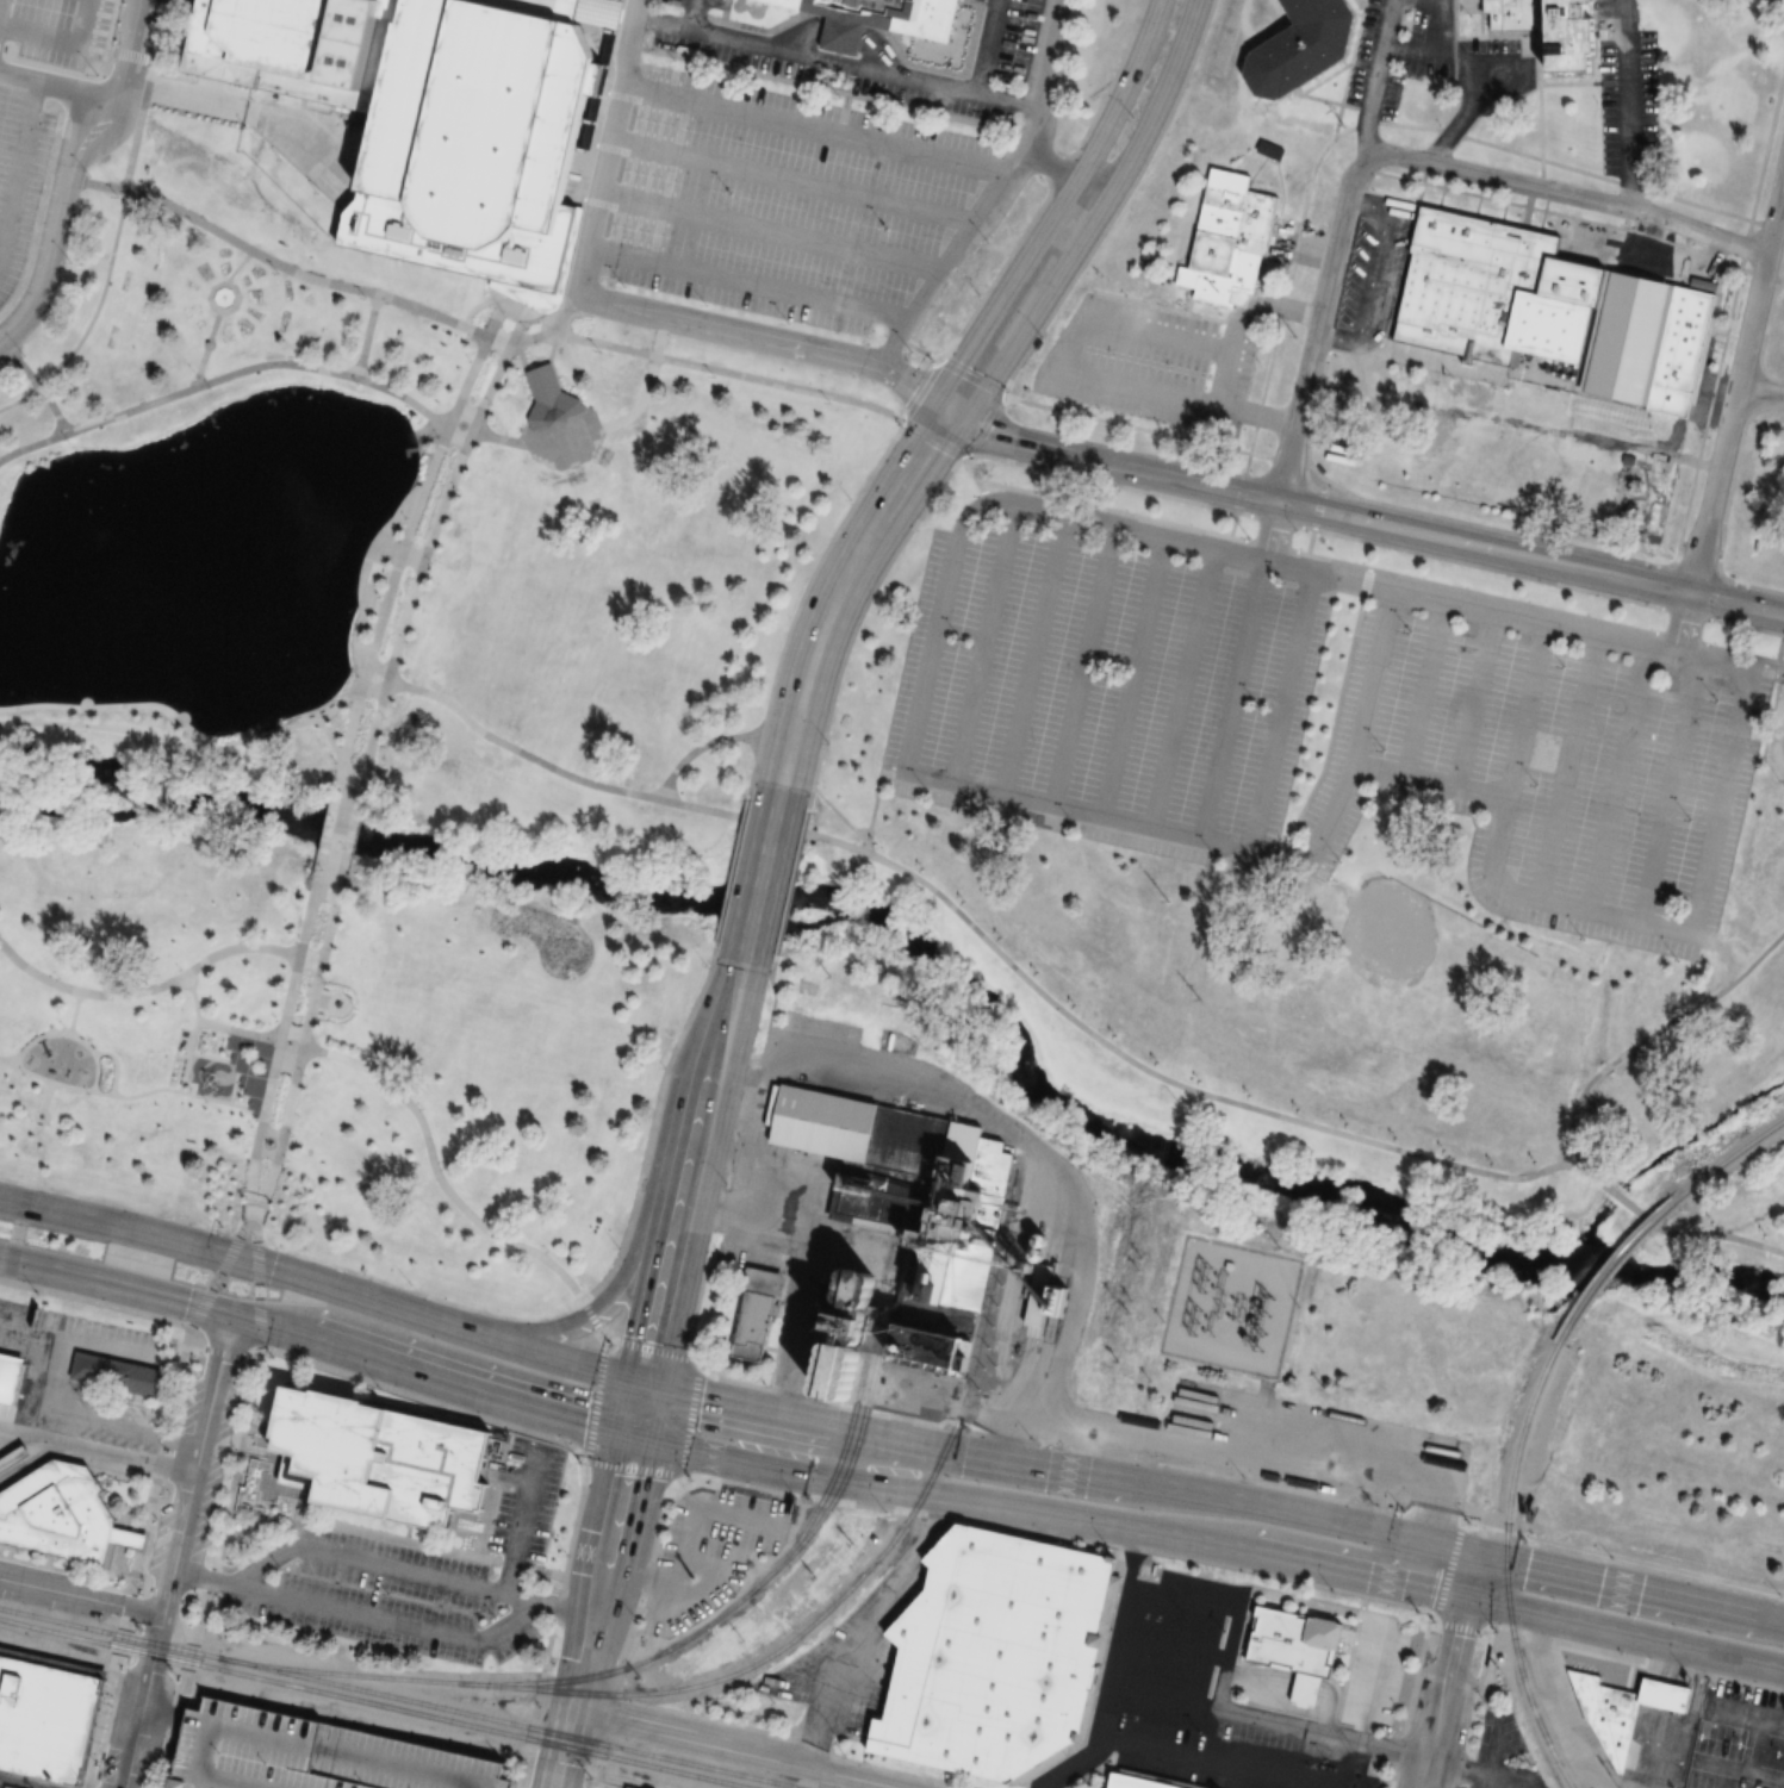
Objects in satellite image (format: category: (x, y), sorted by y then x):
road: (0, 4)
road: (696, 14)
building: (884, 20)
building: (1554, 29)
road: (986, 46)
building: (1303, 46)
road: (839, 62)
street lamp: (110, 80)
road: (1046, 81)
road: (126, 91)
road: (1120, 94)
road: (101, 104)
road: (1156, 105)
parking lot: (29, 108)
building: (422, 117)
road: (27, 125)
road: (819, 130)
road: (607, 147)
building: (1272, 150)
road: (64, 175)
road: (794, 180)
road: (1569, 192)
road: (1046, 194)
parking lot: (773, 199)
road: (770, 230)
road: (970, 232)
building: (1225, 238)
road: (236, 264)
road: (324, 281)
road: (744, 285)
building: (1492, 291)
fountain: (222, 298)
road: (1262, 304)
road: (222, 309)
road: (91, 318)
road: (1045, 318)
road: (1318, 324)
road: (366, 334)
road: (769, 339)
road: (1061, 351)
building: (1682, 355)
parking lot: (1149, 362)
road: (1223, 375)
road: (360, 378)
road: (974, 378)
road: (764, 379)
road: (466, 380)
road: (647, 381)
road: (1736, 381)
road: (36, 382)
road: (487, 388)
road: (1760, 391)
building: (553, 401)
road: (1256, 412)
traffic signals: (951, 413)
road: (536, 441)
road: (582, 472)
road: (907, 475)
road: (1693, 475)
road: (423, 488)
road: (1317, 509)
road: (1124, 513)
road: (1365, 521)
road: (1270, 529)
road: (1334, 532)
road: (1310, 541)
road: (640, 542)
road: (813, 572)
road: (1345, 577)
road: (1752, 586)
road: (1712, 596)
road: (380, 618)
road: (1682, 622)
road: (1745, 625)
road: (986, 640)
road: (1033, 652)
road: (1083, 662)
road: (1133, 674)
road: (1182, 684)
road: (369, 686)
road: (1421, 686)
road: (1232, 696)
road: (1473, 698)
road: (340, 703)
road: (104, 704)
road: (1280, 706)
road: (350, 721)
park: (374, 722)
parking lot: (1541, 725)
road: (371, 735)
road: (184, 741)
road: (697, 747)
road: (517, 749)
road: (1354, 749)
road: (756, 762)
road: (347, 764)
road: (1566, 766)
road: (1616, 778)
road: (1667, 790)
road: (812, 791)
road: (1036, 798)
road: (839, 812)
road: (871, 812)
road: (337, 833)
park: (1305, 868)
road: (732, 870)
road: (760, 873)
road: (790, 883)
road: (1587, 910)
road: (307, 915)
road: (231, 947)
road: (310, 959)
river: (930, 959)
flagpole: (355, 1007)
road: (74, 1010)
road: (68, 1032)
road: (1652, 1032)
road: (1094, 1036)
road: (844, 1051)
road: (186, 1053)
road: (300, 1054)
road: (116, 1064)
road: (130, 1095)
road: (45, 1097)
road: (405, 1098)
road: (649, 1130)
road: (267, 1140)
railway: (1732, 1158)
road: (735, 1167)
road: (694, 1170)
road: (250, 1177)
road: (647, 1186)
building: (896, 1225)
road: (1667, 1231)
power tower: (1293, 1244)
railway: (1615, 1264)
traffic signals: (273, 1269)
road: (222, 1272)
road: (259, 1283)
road: (324, 1283)
road: (116, 1287)
road: (116, 1307)
power substation: (1230, 1307)
building: (757, 1312)
traffic signals: (231, 1316)
road: (624, 1346)
traffic signals: (654, 1347)
road: (226, 1354)
building: (123, 1373)
building: (12, 1376)
road: (433, 1377)
traffic signals: (698, 1393)
road: (213, 1395)
road: (597, 1401)
park: (1686, 1403)
road: (641, 1408)
road: (795, 1415)
road: (689, 1419)
traffic signals: (584, 1425)
building: (255, 1427)
road: (526, 1428)
road: (10, 1441)
road: (98, 1451)
building: (378, 1456)
building: (17, 1459)
railway: (837, 1463)
road: (32, 1464)
road: (634, 1465)
railway: (847, 1466)
traffic signals: (627, 1472)
road: (1080, 1474)
road: (1230, 1478)
road: (887, 1489)
building: (64, 1514)
road: (521, 1519)
road: (1345, 1524)
road: (1424, 1524)
road: (178, 1544)
road: (215, 1547)
road: (1149, 1550)
road: (1137, 1557)
road: (1274, 1557)
parking lot: (704, 1559)
traffic signals: (1525, 1564)
railway: (1504, 1566)
road: (1447, 1568)
road: (74, 1570)
road: (238, 1572)
road: (423, 1572)
parking lot: (416, 1577)
road: (1629, 1587)
road: (162, 1591)
traffic signals: (1431, 1591)
road: (81, 1597)
road: (1236, 1606)
road: (568, 1608)
road: (595, 1613)
road: (1434, 1616)
road: (380, 1618)
road: (629, 1626)
road: (1463, 1626)
road: (1596, 1627)
traffic signals: (1457, 1630)
road: (1555, 1637)
railway: (781, 1647)
building: (1293, 1647)
road: (1173, 1650)
building: (993, 1657)
railway: (645, 1659)
road: (1448, 1669)
road: (1293, 1689)
building: (1609, 1695)
building: (1670, 1695)
railway: (399, 1699)
road: (142, 1702)
railway: (373, 1703)
parking lot: (1216, 1703)
road: (1109, 1705)
building: (48, 1718)
road: (1258, 1720)
road: (808, 1743)
road: (1394, 1749)
road: (738, 1750)
building: (317, 1752)
parking lot: (317, 1752)
road: (1213, 1764)
road: (25, 1782)
building: (1130, 1782)
building: (7, 1786)
building: (629, 1787)

